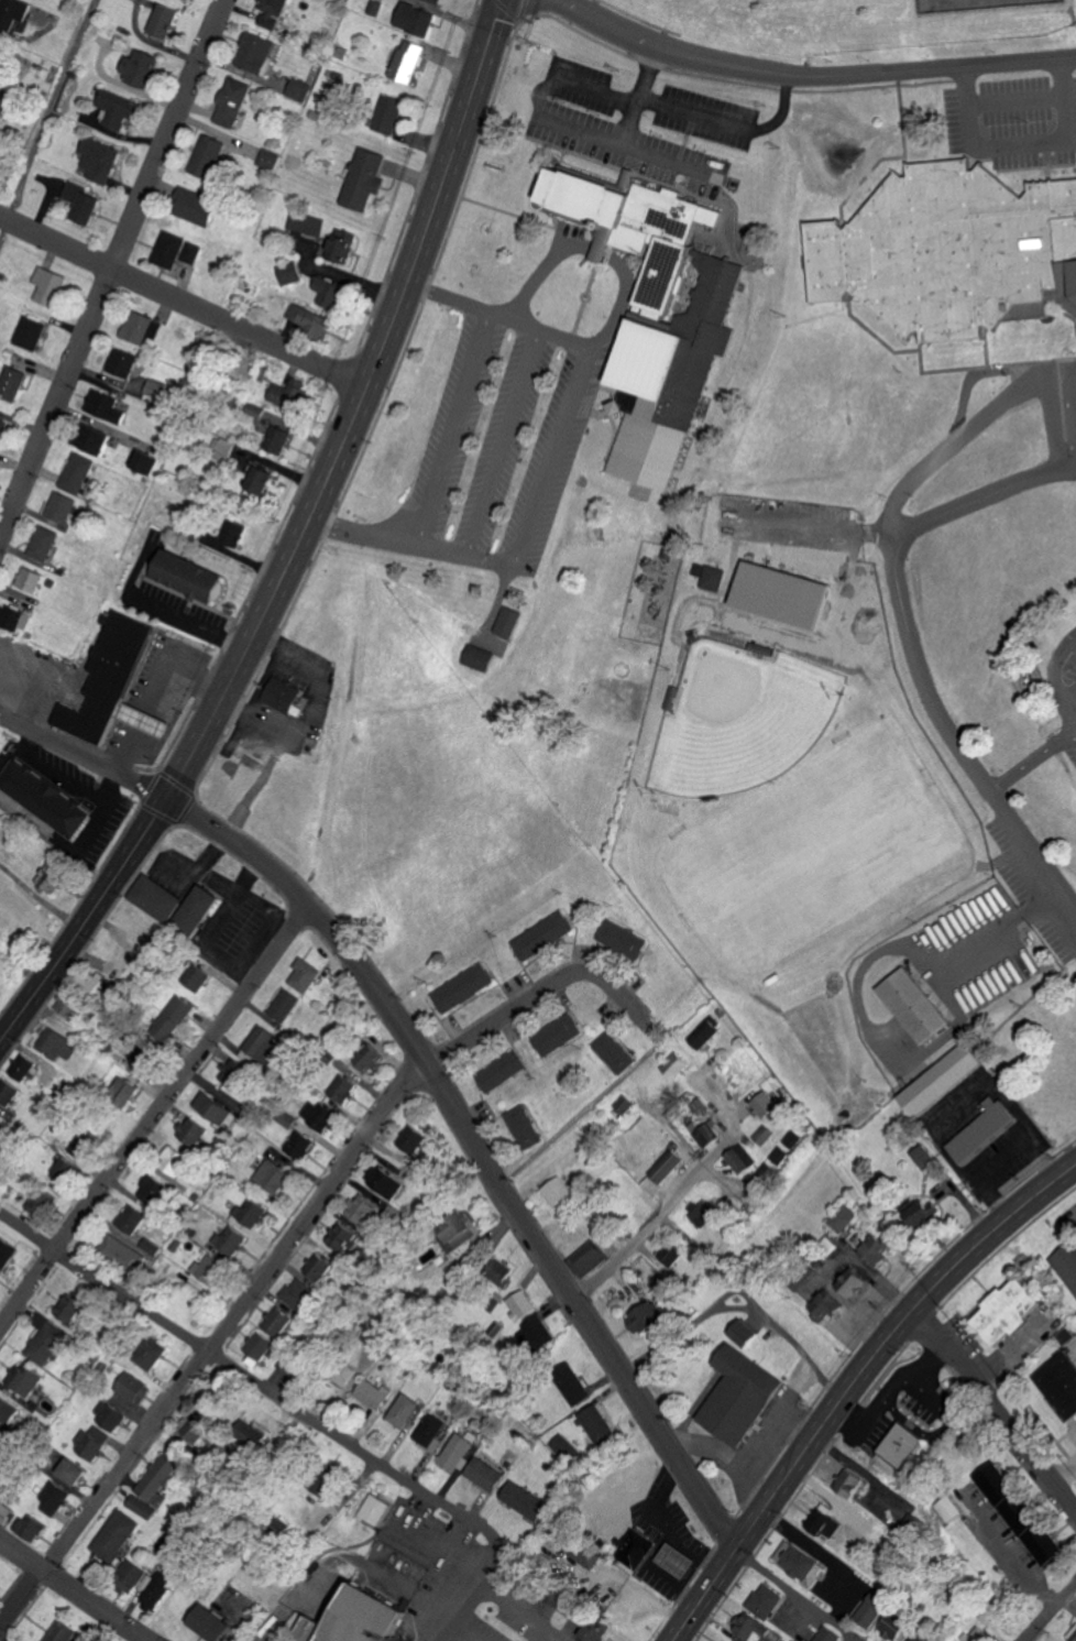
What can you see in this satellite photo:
building: (437, 0)
park: (982, 4)
building: (13, 12)
building: (271, 12)
building: (415, 19)
building: (162, 20)
park: (858, 23)
building: (1, 50)
building: (254, 52)
building: (407, 61)
building: (138, 67)
road: (811, 76)
road: (580, 87)
building: (297, 89)
road: (636, 94)
building: (232, 101)
building: (114, 108)
building: (388, 114)
parking lot: (1034, 116)
road: (1018, 145)
building: (207, 156)
building: (98, 158)
building: (267, 160)
building: (364, 178)
building: (80, 201)
building: (196, 207)
building: (306, 223)
building: (339, 247)
building: (167, 249)
building: (190, 252)
building: (949, 252)
road: (112, 269)
building: (289, 273)
road: (538, 275)
building: (48, 285)
building: (329, 292)
road: (182, 308)
building: (308, 319)
building: (141, 327)
building: (30, 332)
road: (545, 332)
building: (122, 362)
road: (1061, 375)
building: (11, 382)
building: (103, 406)
parking lot: (1069, 407)
road: (1063, 412)
road: (981, 422)
building: (2, 427)
road: (449, 429)
building: (276, 439)
building: (97, 441)
road: (499, 442)
road: (1065, 445)
road: (549, 456)
building: (145, 462)
building: (249, 468)
building: (77, 470)
building: (59, 507)
road: (808, 528)
building: (234, 532)
road: (296, 543)
building: (42, 544)
road: (407, 544)
building: (189, 576)
building: (710, 576)
building: (29, 580)
building: (14, 617)
building: (508, 622)
road: (914, 652)
building: (479, 657)
road: (177, 665)
road: (1057, 675)
building: (109, 678)
building: (283, 696)
building: (156, 725)
road: (1032, 755)
road: (124, 757)
building: (43, 799)
building: (156, 898)
building: (197, 910)
road: (999, 927)
building: (542, 936)
building: (622, 939)
building: (304, 975)
building: (193, 977)
building: (87, 982)
building: (463, 988)
building: (66, 1005)
building: (283, 1006)
building: (915, 1006)
building: (171, 1018)
building: (702, 1032)
building: (558, 1036)
building: (260, 1043)
building: (56, 1046)
building: (614, 1052)
building: (143, 1055)
building: (371, 1058)
building: (673, 1065)
building: (25, 1070)
building: (502, 1071)
building: (233, 1072)
building: (942, 1080)
building: (343, 1088)
building: (8, 1092)
building: (122, 1092)
building: (622, 1105)
building: (764, 1106)
building: (216, 1109)
road: (149, 1117)
building: (286, 1119)
building: (523, 1127)
building: (984, 1130)
building: (193, 1131)
building: (702, 1133)
building: (761, 1135)
building: (65, 1136)
building: (414, 1139)
building: (790, 1139)
road: (465, 1144)
building: (83, 1145)
building: (300, 1146)
building: (776, 1155)
building: (927, 1158)
building: (173, 1160)
building: (738, 1160)
building: (665, 1167)
building: (65, 1168)
building: (766, 1172)
building: (273, 1175)
building: (385, 1182)
building: (153, 1188)
building: (557, 1192)
building: (43, 1201)
building: (362, 1208)
building: (251, 1211)
building: (925, 1211)
building: (701, 1215)
building: (132, 1217)
building: (845, 1218)
building: (457, 1227)
road: (647, 1227)
building: (342, 1237)
building: (230, 1239)
building: (152, 1246)
building: (880, 1246)
building: (7, 1249)
building: (125, 1252)
building: (670, 1252)
building: (586, 1258)
building: (1067, 1262)
building: (317, 1265)
road: (267, 1267)
building: (209, 1268)
building: (497, 1270)
building: (651, 1277)
building: (855, 1281)
building: (298, 1293)
building: (519, 1303)
building: (830, 1303)
road: (738, 1305)
building: (72, 1306)
building: (1011, 1310)
building: (275, 1321)
building: (649, 1323)
building: (536, 1332)
building: (748, 1332)
building: (371, 1335)
building: (46, 1343)
building: (256, 1345)
building: (151, 1353)
building: (337, 1371)
building: (24, 1379)
building: (1059, 1382)
building: (571, 1383)
road: (853, 1383)
building: (132, 1387)
building: (369, 1393)
building: (744, 1394)
road: (997, 1404)
building: (8, 1411)
road: (296, 1411)
building: (402, 1411)
building: (108, 1414)
building: (600, 1424)
building: (195, 1427)
building: (426, 1432)
building: (246, 1436)
building: (90, 1442)
road: (772, 1444)
building: (904, 1444)
building: (458, 1447)
road: (726, 1455)
road: (1064, 1466)
building: (73, 1470)
building: (486, 1473)
building: (155, 1477)
building: (850, 1481)
building: (325, 1485)
building: (53, 1497)
building: (525, 1500)
building: (376, 1509)
building: (4, 1511)
building: (1021, 1513)
building: (826, 1522)
building: (910, 1525)
building: (30, 1527)
building: (112, 1536)
parking lot: (668, 1538)
road: (443, 1545)
building: (638, 1549)
building: (586, 1553)
road: (1012, 1554)
building: (679, 1557)
building: (802, 1562)
building: (129, 1575)
building: (145, 1582)
building: (155, 1590)
road: (69, 1595)
building: (767, 1600)
road: (1048, 1609)
building: (872, 1610)
building: (358, 1618)
building: (210, 1623)
building: (896, 1624)
road: (267, 1627)
building: (750, 1627)
building: (595, 1630)
building: (59, 1632)
building: (830, 1634)
building: (978, 1634)
building: (920, 1638)
road: (855, 1639)

